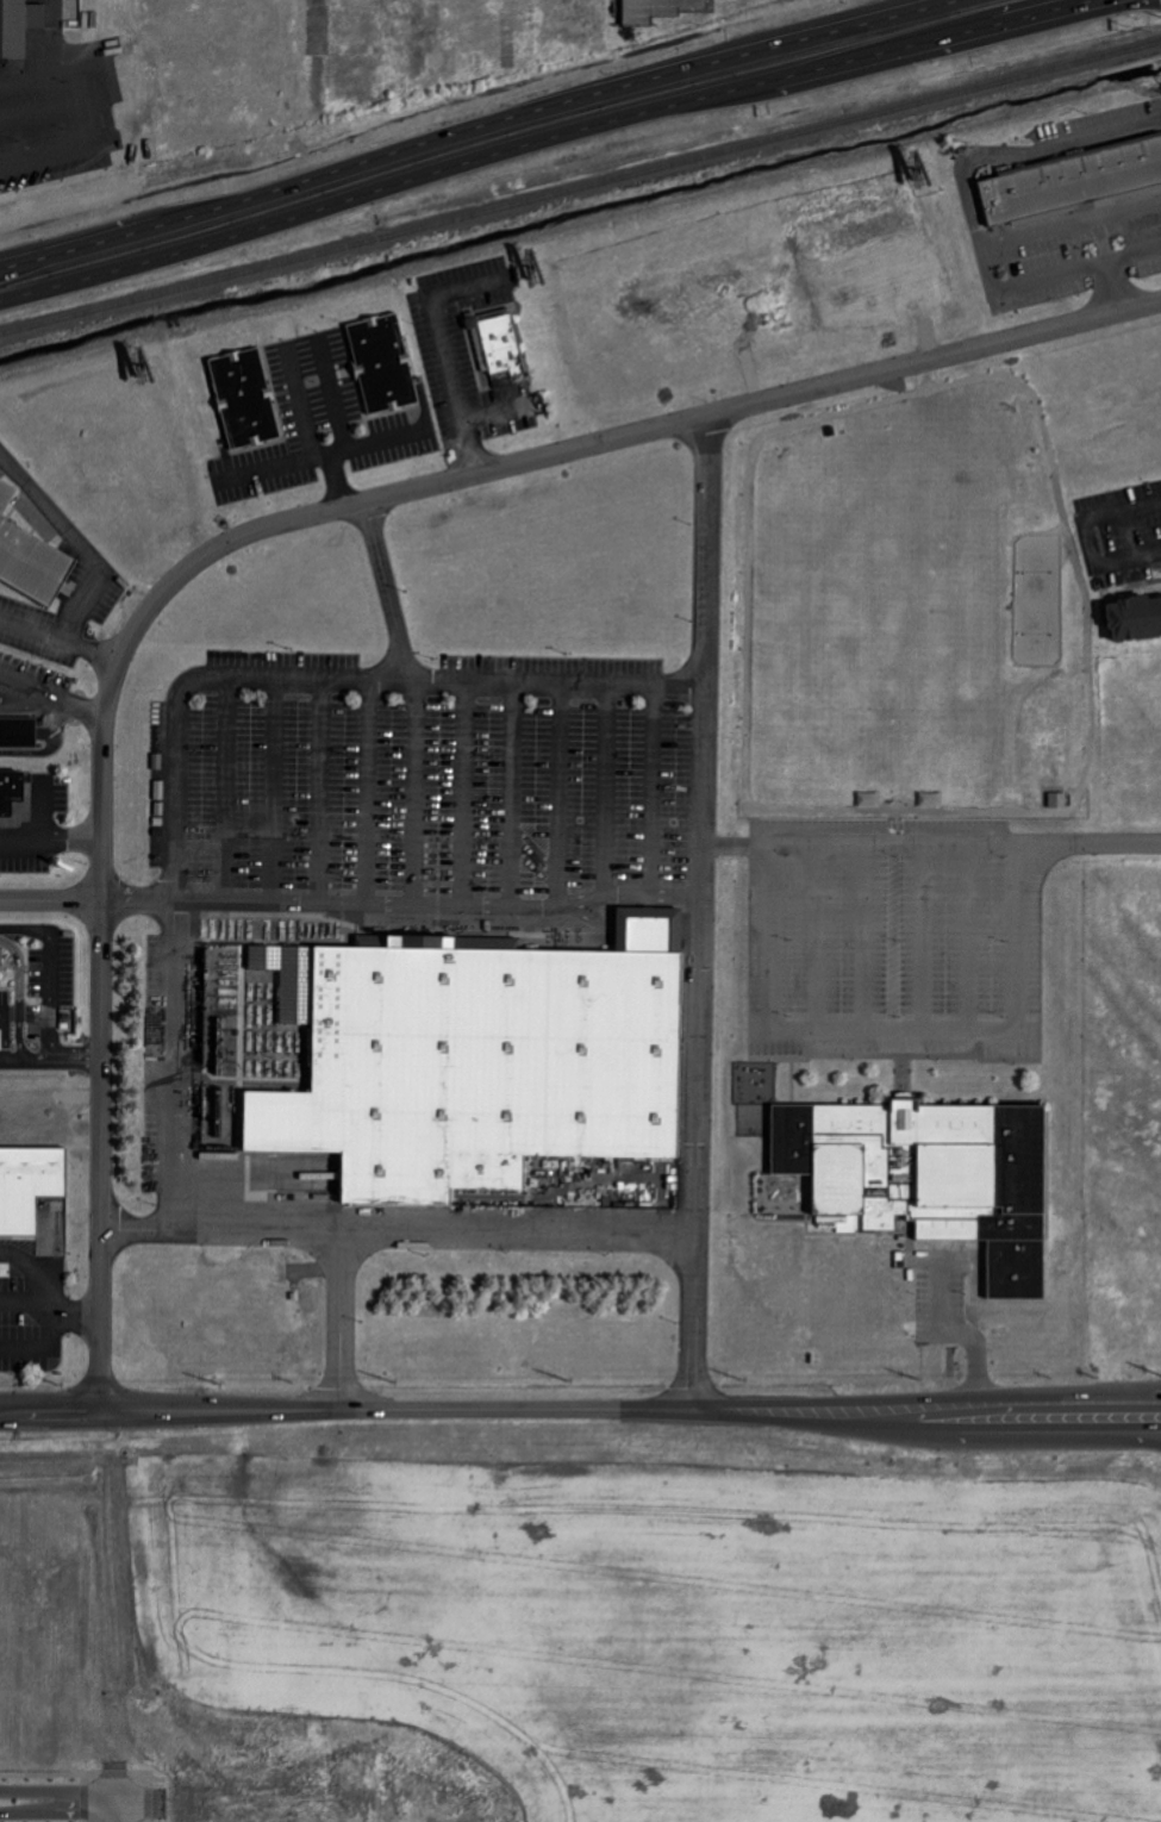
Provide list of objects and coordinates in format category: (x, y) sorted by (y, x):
building: (655, 8)
building: (18, 26)
road: (474, 126)
road: (541, 138)
road: (1024, 146)
building: (1072, 183)
railway: (580, 188)
road: (1071, 216)
road: (1131, 251)
road: (1050, 275)
building: (498, 344)
road: (445, 348)
building: (383, 363)
building: (245, 398)
road: (336, 398)
road: (498, 413)
road: (650, 428)
road: (307, 431)
road: (324, 456)
road: (1081, 534)
building: (30, 557)
road: (381, 589)
building: (1136, 616)
road: (29, 691)
road: (179, 695)
road: (29, 703)
road: (80, 707)
building: (18, 734)
road: (606, 787)
road: (654, 788)
road: (229, 791)
road: (276, 792)
road: (322, 792)
road: (372, 793)
road: (418, 794)
road: (463, 795)
road: (514, 797)
road: (561, 797)
building: (15, 799)
building: (1059, 800)
road: (929, 842)
road: (49, 899)
road: (401, 910)
road: (697, 911)
building: (1, 956)
road: (98, 993)
road: (894, 1030)
building: (479, 1066)
building: (930, 1178)
building: (29, 1186)
road: (432, 1222)
road: (227, 1230)
road: (36, 1273)
road: (79, 1312)
road: (951, 1333)
road: (43, 1347)
road: (580, 1409)
road: (48, 1774)
road: (117, 1774)
road: (148, 1774)
road: (87, 1779)
road: (58, 1791)
road: (86, 1802)
road: (150, 1803)
road: (58, 1810)
road: (117, 1811)
road: (87, 1821)

